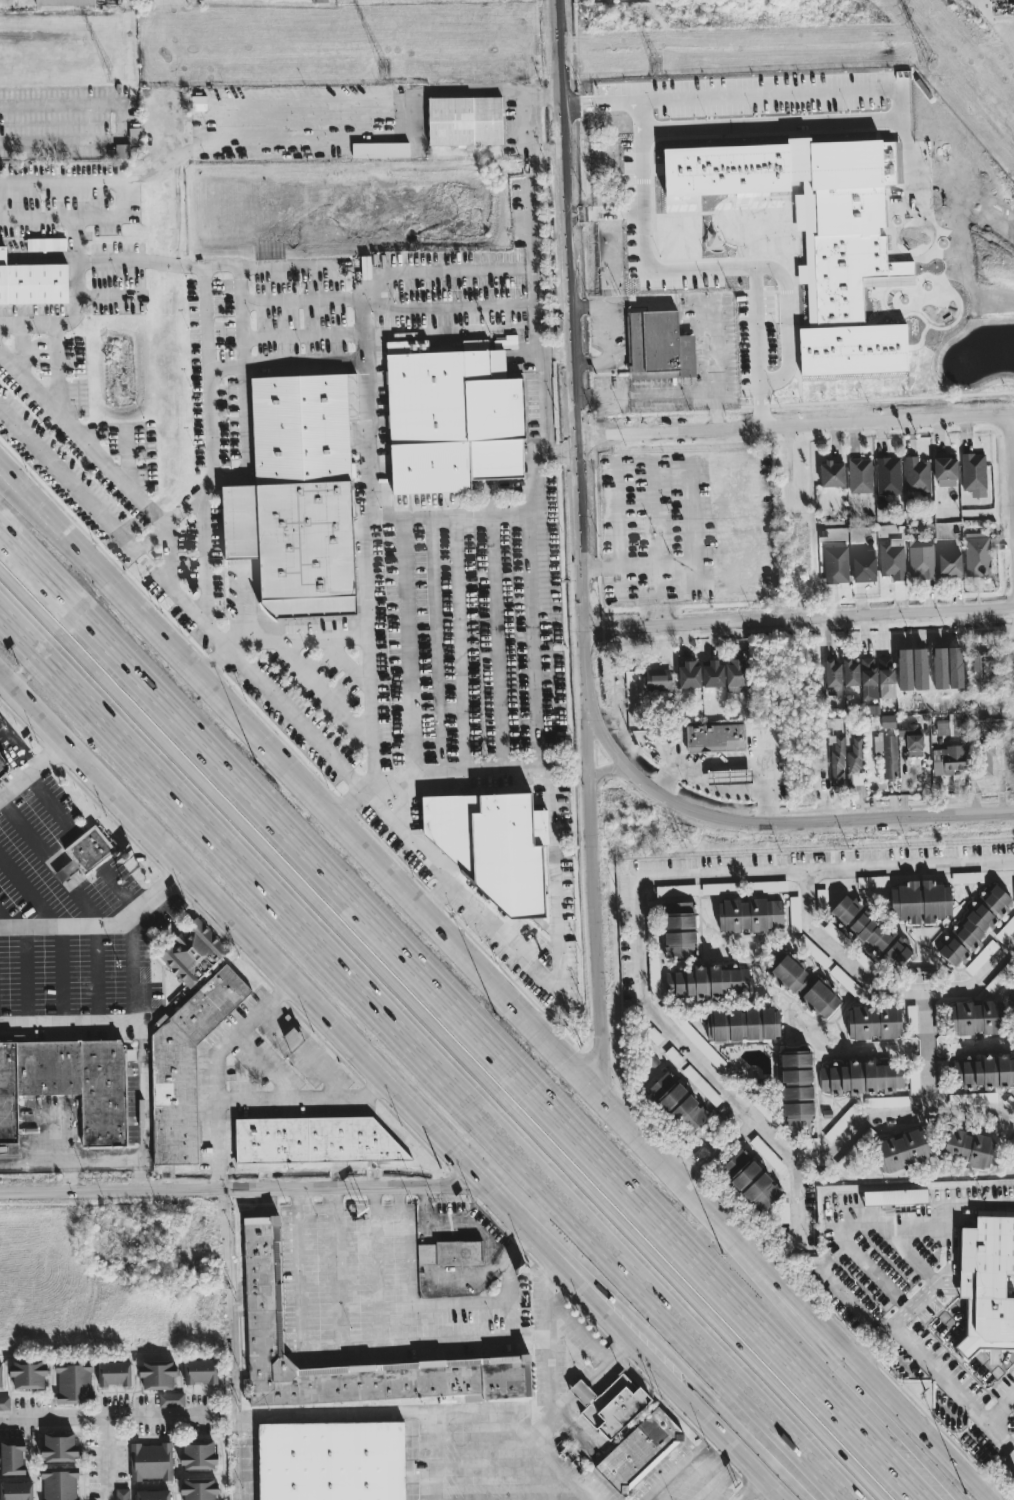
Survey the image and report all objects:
building: (317, 1)
building: (62, 2)
road: (138, 6)
power tower: (926, 60)
power tower: (655, 65)
power tower: (383, 69)
power tower: (108, 73)
road: (522, 100)
road: (681, 101)
building: (198, 103)
building: (464, 120)
road: (116, 126)
road: (545, 147)
building: (122, 151)
building: (392, 151)
road: (713, 212)
road: (864, 226)
building: (45, 244)
road: (786, 247)
road: (96, 252)
building: (852, 274)
building: (32, 282)
road: (77, 291)
road: (537, 300)
road: (34, 331)
road: (606, 333)
road: (359, 341)
building: (657, 345)
road: (556, 351)
road: (225, 373)
road: (3, 407)
building: (460, 408)
road: (756, 415)
road: (794, 426)
road: (562, 454)
building: (430, 468)
building: (945, 470)
road: (1011, 470)
building: (831, 474)
building: (974, 474)
building: (916, 475)
building: (860, 476)
building: (887, 476)
building: (298, 496)
road: (446, 511)
road: (150, 516)
road: (60, 523)
road: (61, 528)
building: (977, 555)
building: (892, 562)
building: (921, 562)
building: (836, 565)
building: (863, 565)
building: (949, 565)
road: (636, 566)
road: (175, 592)
road: (584, 592)
road: (363, 598)
road: (530, 606)
road: (800, 619)
road: (460, 639)
road: (240, 657)
road: (216, 659)
building: (939, 668)
building: (919, 669)
road: (309, 670)
building: (711, 673)
building: (734, 673)
building: (850, 673)
building: (977, 673)
building: (688, 674)
building: (886, 677)
building: (657, 678)
building: (832, 678)
building: (868, 678)
road: (371, 719)
building: (887, 721)
building: (948, 726)
building: (714, 738)
building: (911, 738)
building: (886, 754)
building: (837, 760)
building: (947, 760)
building: (984, 761)
road: (499, 765)
road: (731, 765)
building: (854, 768)
building: (3, 769)
road: (30, 770)
building: (732, 776)
road: (370, 787)
road: (723, 791)
road: (349, 801)
road: (52, 802)
building: (451, 828)
building: (89, 851)
building: (509, 856)
road: (50, 861)
road: (438, 865)
building: (966, 877)
road: (556, 879)
building: (872, 882)
building: (1013, 885)
building: (768, 886)
building: (720, 888)
road: (123, 890)
building: (676, 890)
road: (30, 893)
road: (438, 893)
building: (822, 901)
building: (920, 902)
building: (794, 914)
building: (750, 915)
parking lot: (69, 917)
road: (599, 917)
road: (5, 924)
road: (103, 924)
building: (974, 925)
road: (445, 930)
building: (679, 930)
building: (1005, 930)
building: (866, 931)
building: (192, 954)
building: (981, 957)
building: (653, 973)
road: (881, 973)
road: (98, 976)
road: (60, 977)
road: (644, 977)
road: (27, 978)
building: (999, 978)
building: (706, 982)
building: (846, 982)
building: (802, 984)
building: (1013, 1004)
building: (911, 1011)
building: (939, 1011)
road: (463, 1013)
building: (975, 1019)
building: (873, 1023)
building: (740, 1024)
road: (67, 1027)
road: (331, 1027)
road: (435, 1040)
building: (698, 1042)
road: (934, 1045)
road: (306, 1053)
road: (143, 1054)
road: (414, 1063)
road: (268, 1067)
building: (186, 1068)
building: (861, 1078)
building: (975, 1079)
building: (914, 1084)
building: (68, 1086)
building: (796, 1090)
road: (309, 1100)
building: (677, 1102)
building: (887, 1102)
road: (744, 1110)
road: (746, 1110)
building: (765, 1112)
road: (711, 1124)
building: (315, 1142)
building: (965, 1147)
building: (902, 1150)
road: (114, 1163)
road: (40, 1164)
road: (689, 1175)
road: (69, 1177)
building: (749, 1181)
road: (237, 1189)
road: (799, 1197)
building: (895, 1197)
road: (399, 1200)
road: (314, 1209)
road: (392, 1211)
road: (424, 1216)
road: (926, 1223)
road: (475, 1226)
road: (226, 1228)
building: (459, 1254)
road: (425, 1255)
road: (912, 1255)
road: (297, 1268)
road: (335, 1268)
road: (876, 1278)
road: (982, 1282)
road: (1010, 1283)
road: (474, 1284)
building: (987, 1284)
parking lot: (327, 1286)
parking lot: (900, 1287)
building: (263, 1289)
road: (838, 1291)
road: (509, 1296)
road: (414, 1304)
road: (580, 1332)
road: (388, 1344)
road: (340, 1347)
road: (872, 1347)
road: (552, 1352)
road: (609, 1362)
road: (920, 1362)
building: (199, 1371)
building: (27, 1373)
building: (113, 1373)
building: (0, 1374)
building: (156, 1374)
building: (72, 1384)
road: (866, 1386)
road: (878, 1386)
building: (171, 1400)
building: (4, 1403)
road: (997, 1406)
road: (432, 1416)
road: (105, 1421)
road: (575, 1430)
building: (627, 1433)
road: (479, 1436)
road: (730, 1437)
road: (722, 1438)
building: (58, 1447)
building: (197, 1454)
building: (11, 1457)
road: (428, 1458)
road: (105, 1461)
building: (150, 1461)
road: (693, 1461)
building: (333, 1463)
parking lot: (493, 1467)
road: (497, 1469)
parking lot: (690, 1480)
building: (59, 1484)
road: (1001, 1487)
building: (198, 1488)
road: (752, 1490)
building: (16, 1491)
road: (710, 1493)
building: (121, 1494)
building: (152, 1495)

